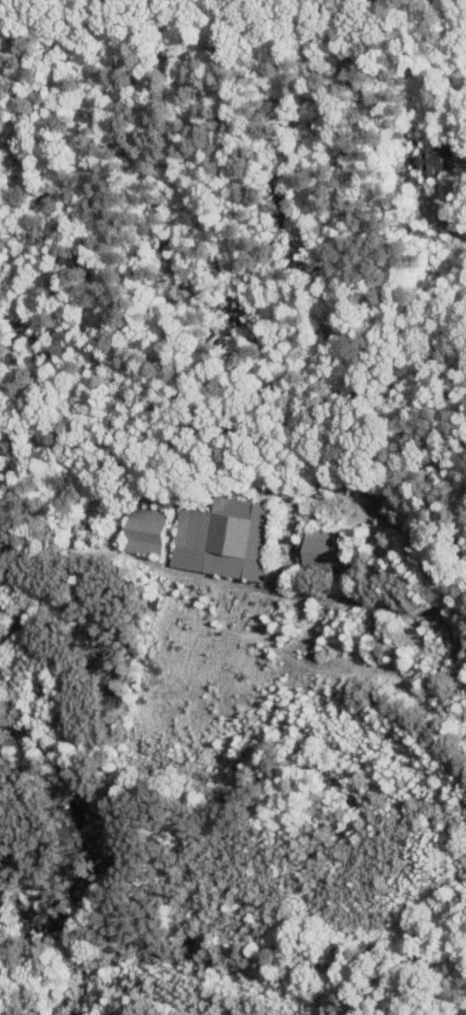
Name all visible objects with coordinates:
building: (437, 159)
building: (145, 529)
building: (223, 538)
building: (323, 552)
road: (385, 608)

